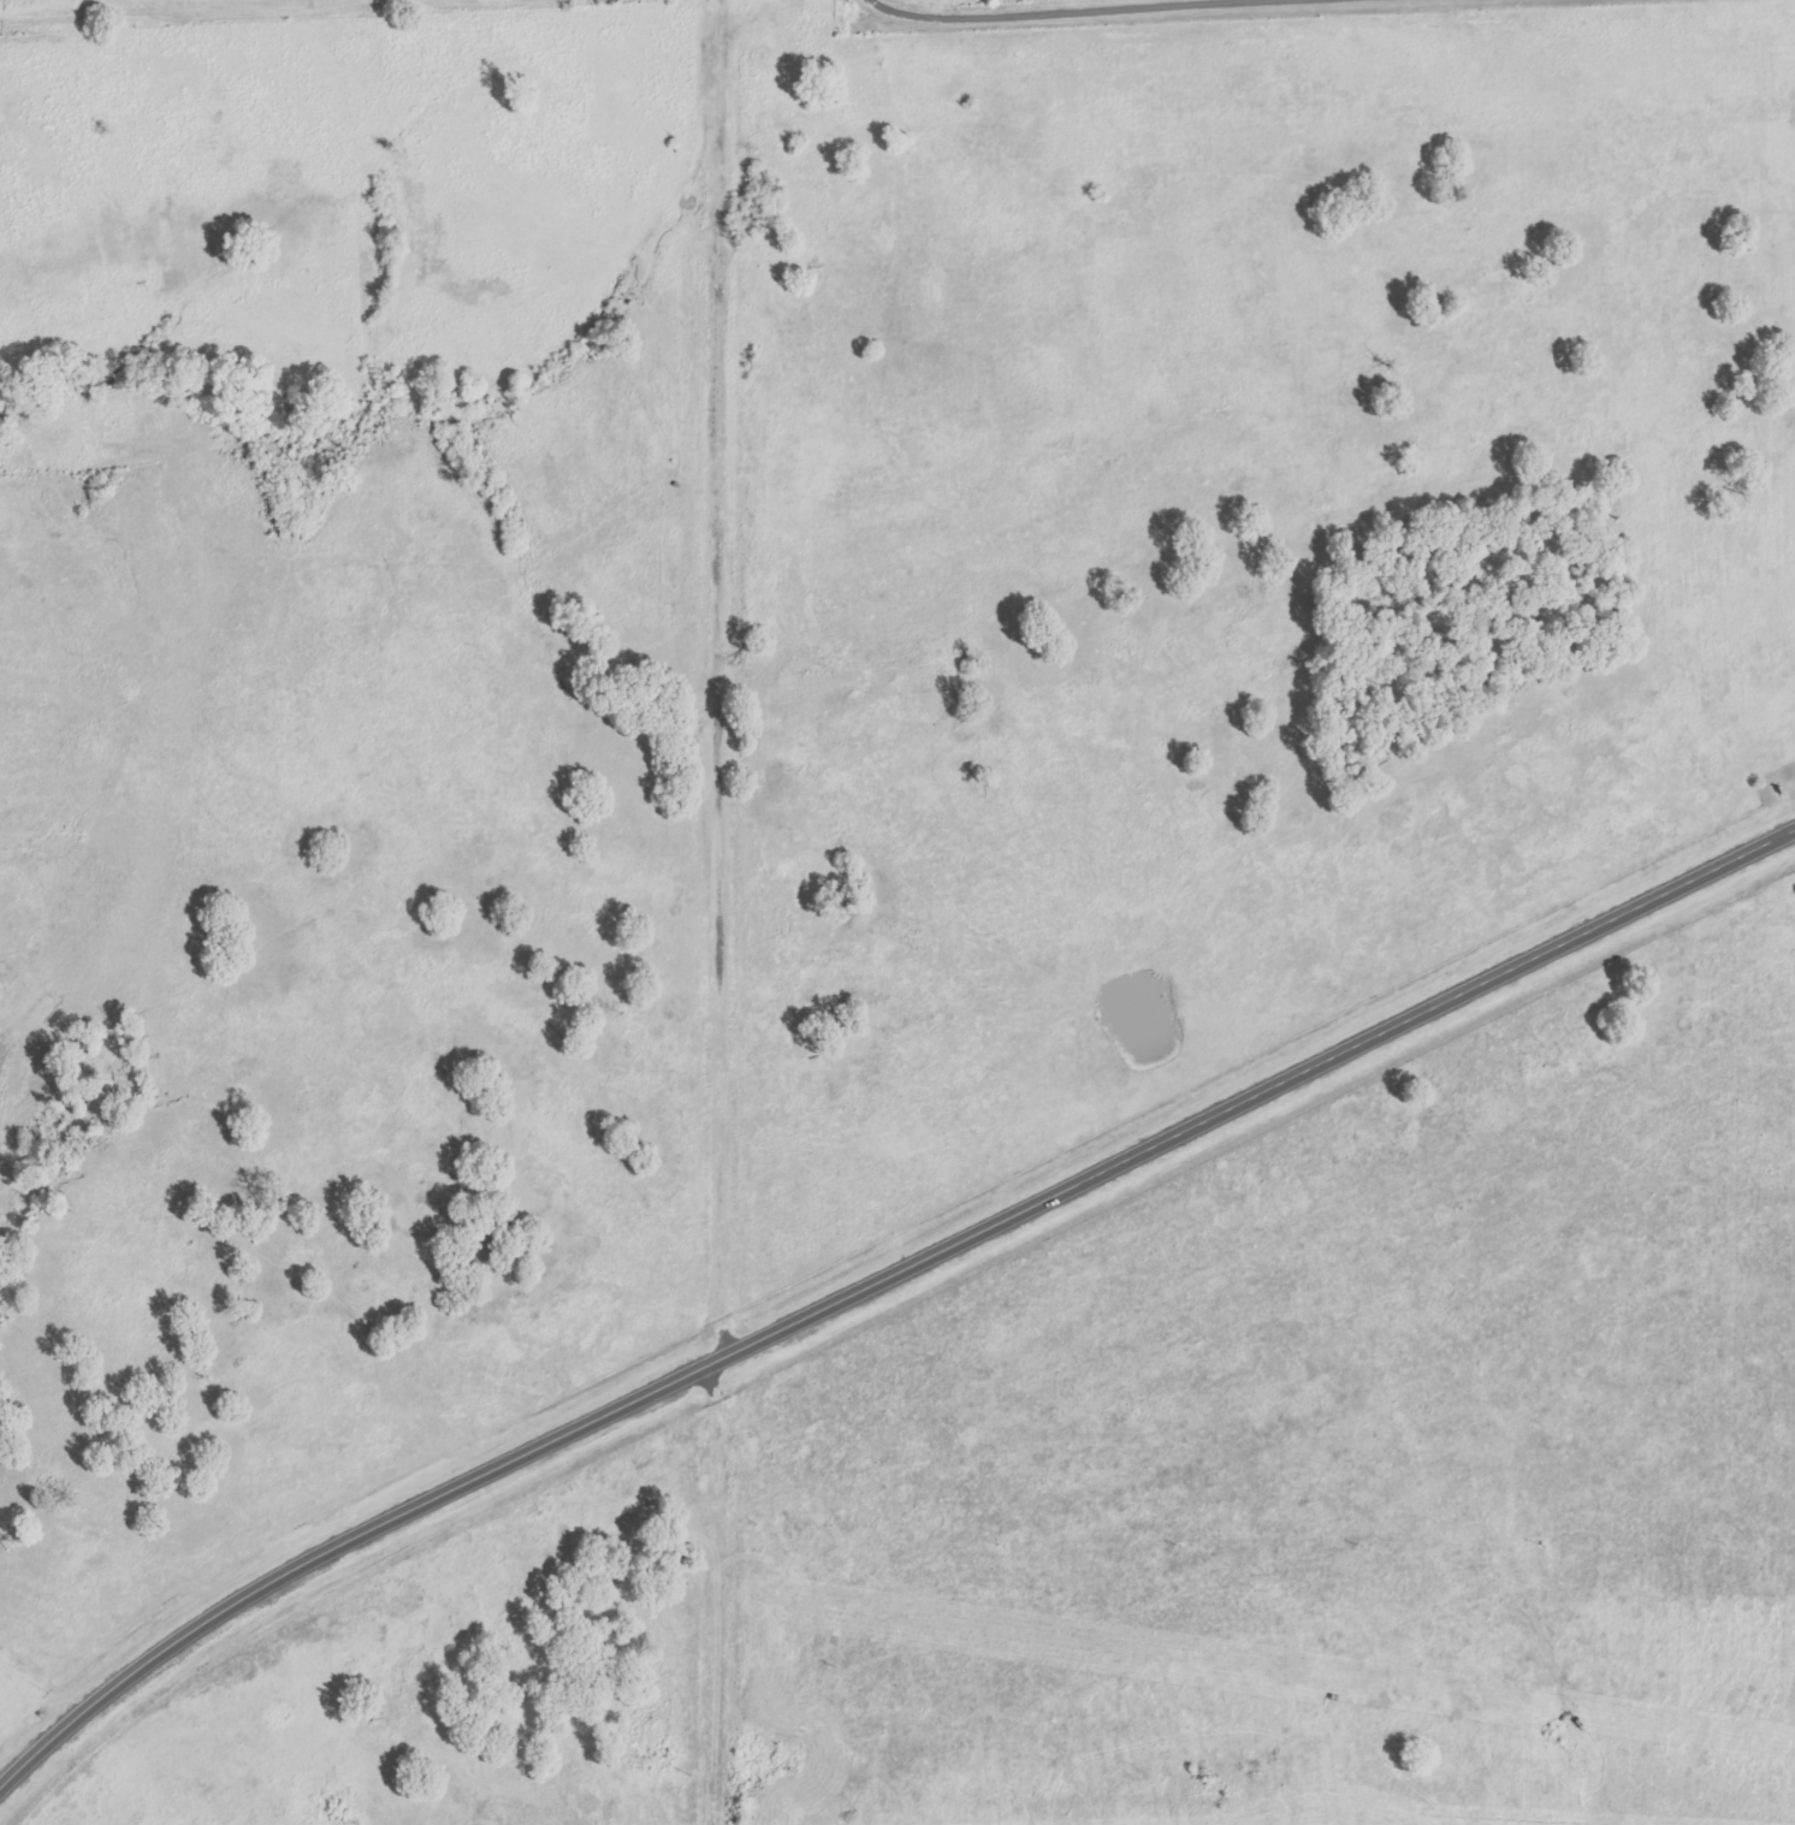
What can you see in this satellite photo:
road: (1039, 10)
road: (878, 1281)

